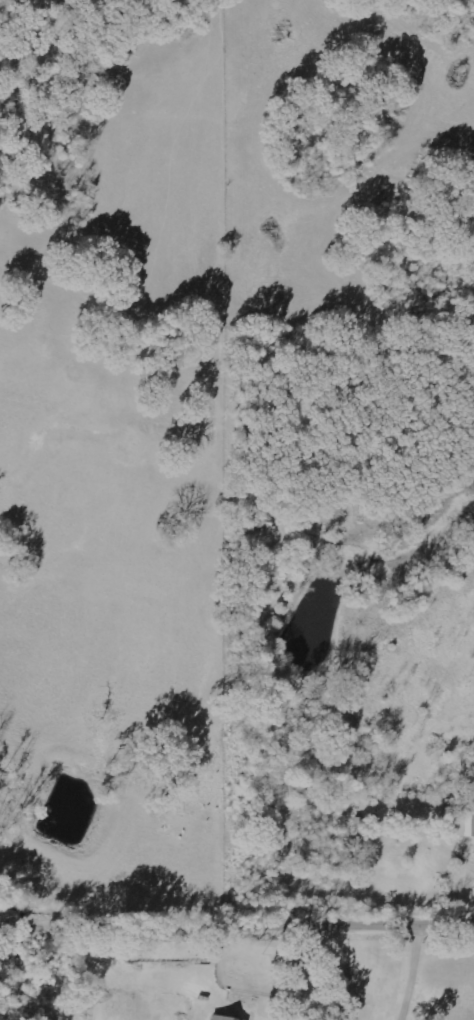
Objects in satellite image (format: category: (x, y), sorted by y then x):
building: (261, 526)
road: (428, 607)
building: (462, 823)
road: (237, 928)
building: (224, 1018)

